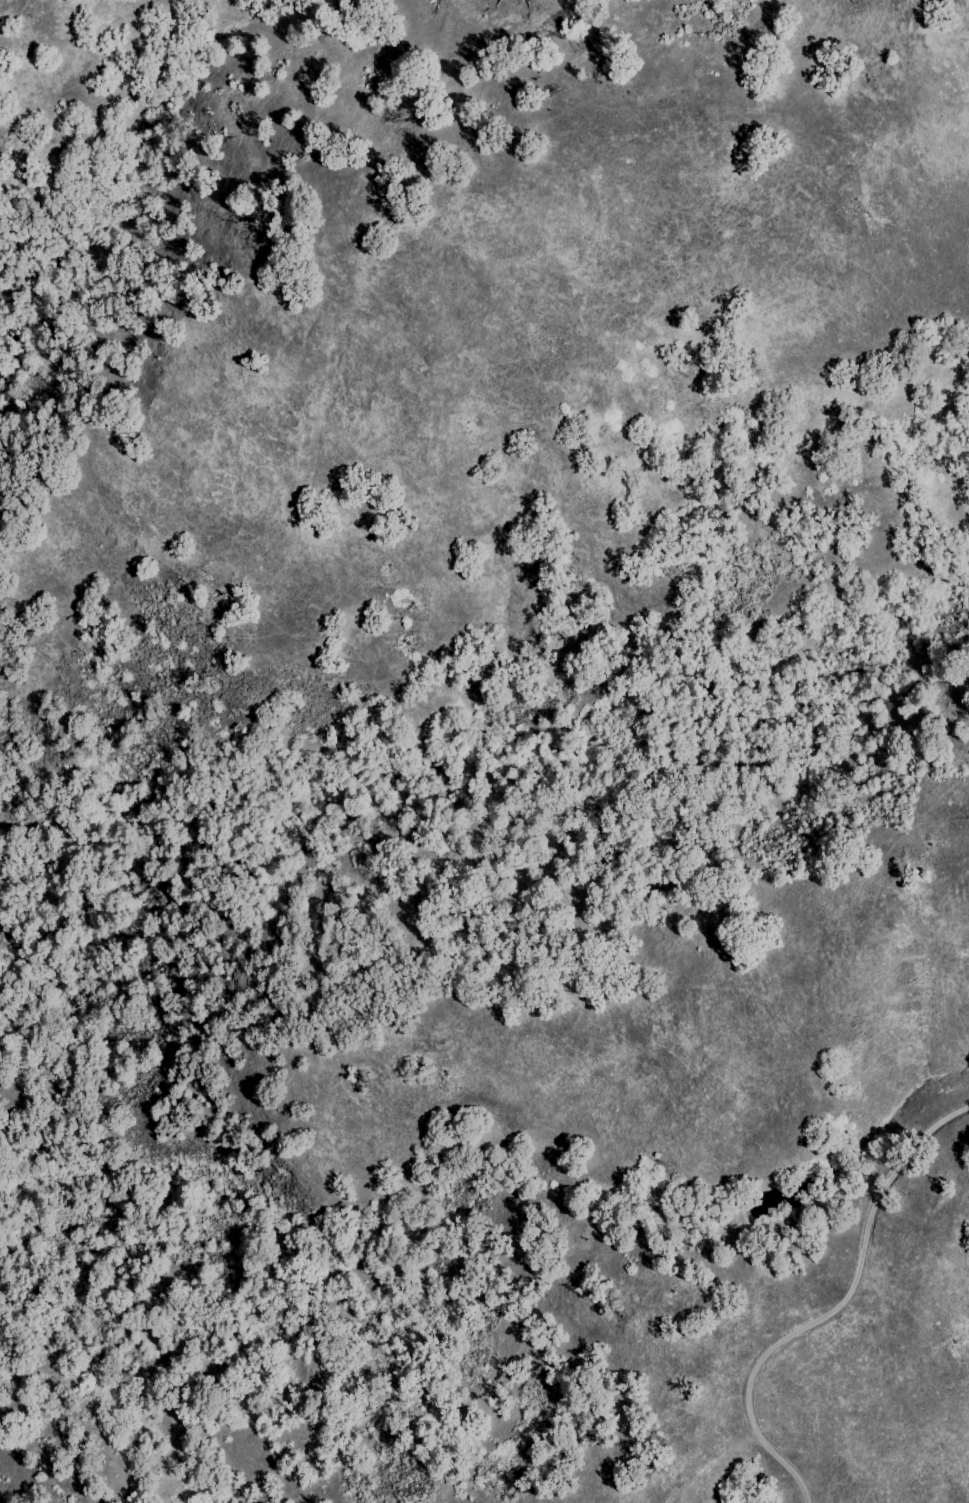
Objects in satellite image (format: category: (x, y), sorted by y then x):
road: (856, 1277)
road: (746, 1449)

